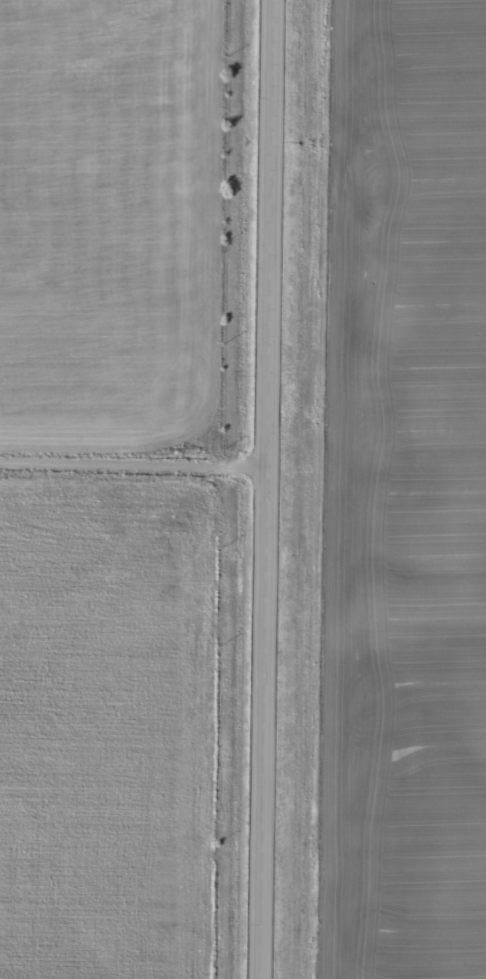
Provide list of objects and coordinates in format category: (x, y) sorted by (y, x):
road: (134, 466)
road: (268, 489)

